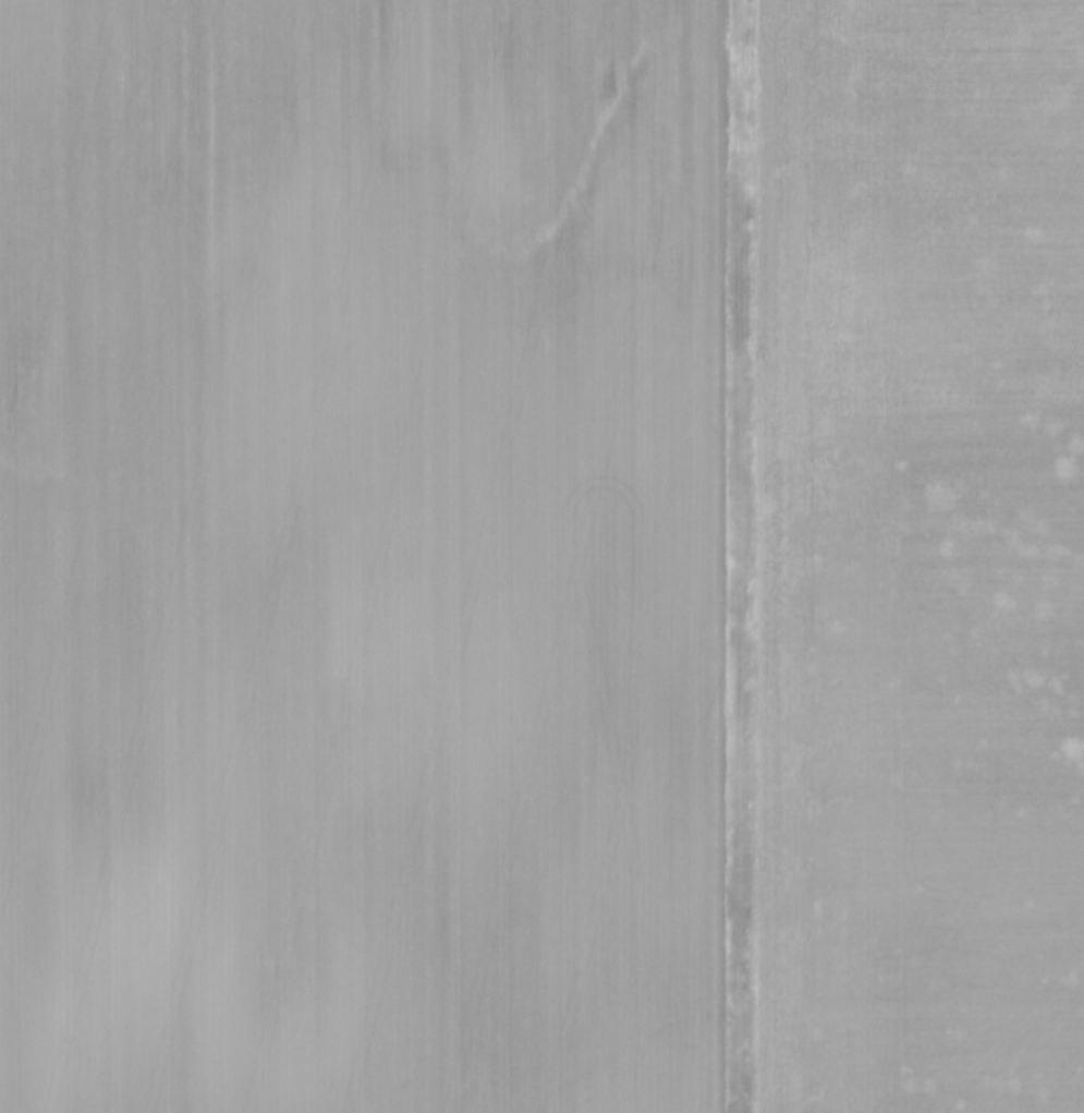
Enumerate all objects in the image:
road: (730, 556)

